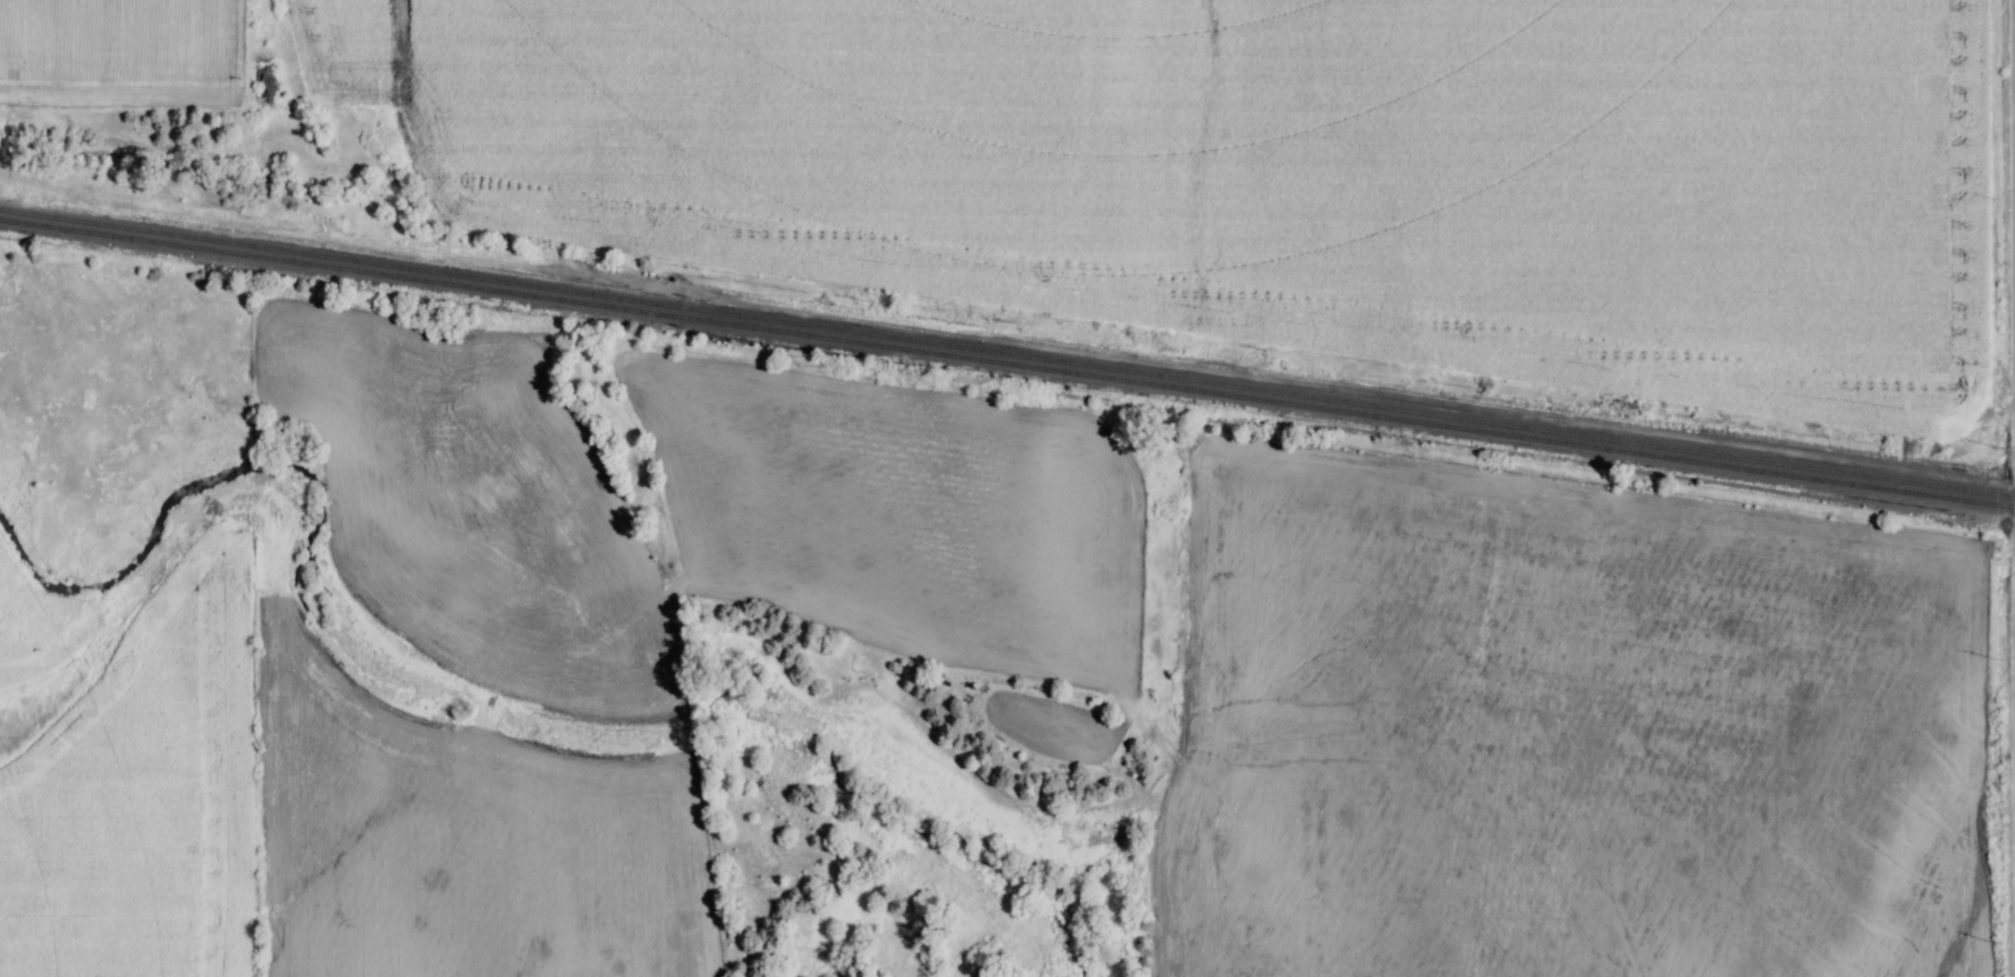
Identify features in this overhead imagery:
railway: (1007, 346)
railway: (1007, 358)

